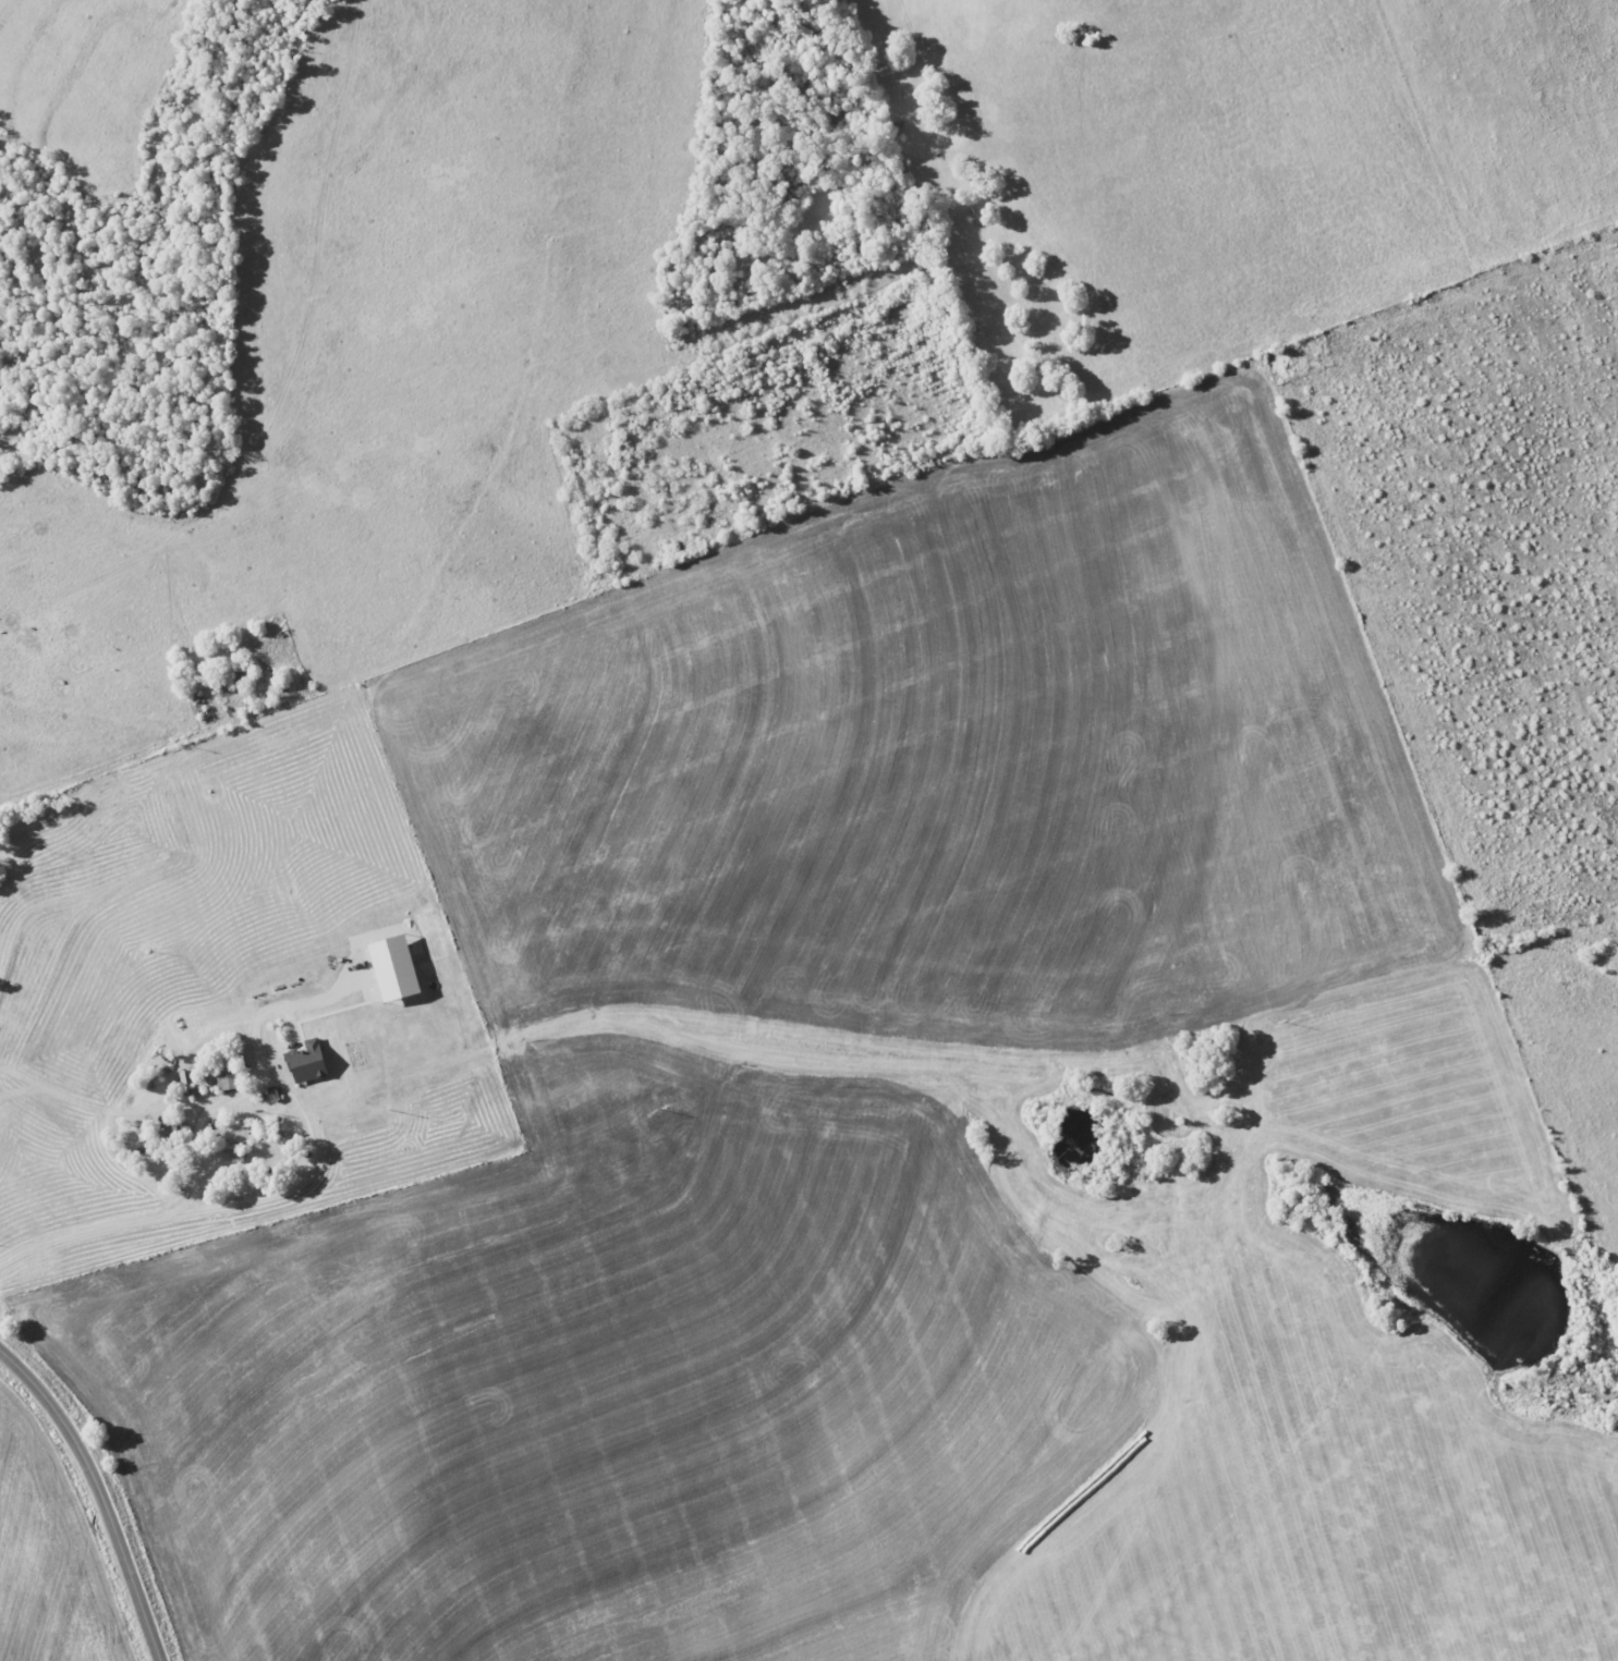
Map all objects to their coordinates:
building: (393, 965)
road: (271, 1010)
building: (304, 1062)
road: (300, 1100)
road: (82, 1233)
road: (100, 1493)

